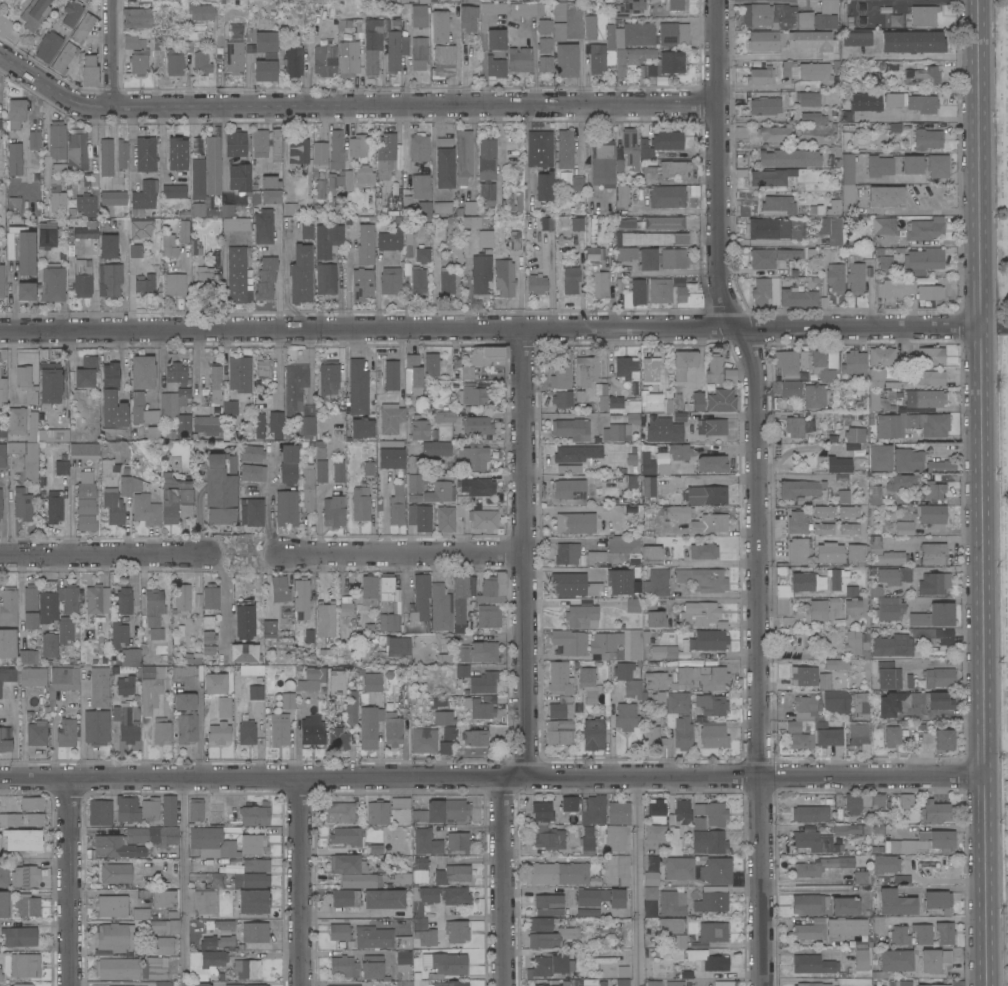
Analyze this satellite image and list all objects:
building: (85, 0)
building: (423, 0)
building: (469, 0)
building: (63, 1)
building: (677, 4)
building: (632, 5)
building: (494, 7)
building: (526, 8)
building: (200, 10)
building: (559, 11)
building: (72, 12)
building: (33, 13)
building: (420, 15)
building: (791, 15)
building: (923, 15)
building: (137, 17)
building: (296, 17)
building: (469, 17)
building: (891, 19)
building: (4, 25)
building: (440, 26)
building: (544, 26)
building: (590, 26)
building: (83, 27)
building: (559, 30)
building: (372, 33)
building: (635, 33)
building: (674, 33)
building: (903, 34)
building: (495, 39)
building: (810, 39)
building: (763, 40)
building: (133, 41)
building: (931, 41)
building: (544, 44)
building: (48, 45)
building: (396, 49)
building: (420, 52)
building: (602, 52)
building: (909, 52)
road: (113, 54)
road: (484, 54)
road: (768, 54)
building: (270, 55)
building: (325, 55)
road: (533, 55)
building: (632, 55)
building: (64, 56)
building: (234, 56)
building: (445, 56)
road: (579, 57)
building: (349, 58)
road: (457, 58)
building: (520, 59)
building: (293, 60)
building: (566, 60)
building: (139, 61)
building: (175, 61)
building: (202, 62)
building: (618, 62)
building: (888, 62)
building: (370, 63)
building: (544, 63)
building: (667, 63)
building: (496, 66)
building: (807, 70)
building: (88, 71)
road: (464, 71)
road: (587, 73)
building: (761, 75)
building: (922, 75)
building: (875, 79)
building: (808, 97)
building: (834, 99)
building: (891, 99)
building: (864, 102)
building: (766, 103)
building: (923, 103)
road: (351, 107)
building: (15, 112)
building: (813, 117)
road: (920, 117)
road: (25, 121)
building: (894, 127)
building: (742, 132)
building: (776, 133)
building: (928, 138)
building: (35, 139)
building: (55, 139)
building: (260, 141)
building: (236, 143)
building: (196, 144)
building: (661, 144)
building: (358, 145)
building: (276, 147)
building: (418, 147)
building: (630, 147)
building: (540, 148)
building: (337, 149)
building: (564, 149)
building: (78, 152)
building: (298, 152)
building: (122, 153)
building: (146, 153)
building: (176, 153)
building: (386, 154)
building: (464, 155)
building: (106, 156)
building: (789, 157)
building: (15, 158)
building: (487, 159)
building: (445, 162)
building: (213, 164)
building: (603, 164)
building: (908, 164)
building: (320, 167)
building: (665, 167)
building: (847, 168)
building: (33, 174)
building: (364, 175)
building: (198, 176)
building: (516, 176)
building: (178, 177)
building: (240, 177)
building: (767, 177)
road: (910, 178)
building: (88, 180)
building: (349, 180)
building: (335, 181)
building: (578, 183)
building: (544, 185)
building: (421, 186)
building: (57, 187)
building: (269, 189)
building: (488, 192)
building: (622, 194)
building: (665, 195)
building: (146, 196)
building: (175, 196)
building: (385, 196)
building: (885, 196)
building: (114, 197)
building: (848, 199)
building: (515, 200)
building: (836, 202)
building: (778, 203)
building: (408, 204)
building: (13, 205)
building: (85, 205)
building: (443, 206)
building: (832, 206)
building: (217, 207)
building: (471, 207)
building: (290, 208)
building: (198, 209)
building: (424, 210)
road: (943, 210)
building: (312, 211)
building: (471, 221)
building: (627, 222)
building: (663, 222)
building: (537, 223)
building: (577, 223)
building: (214, 224)
building: (236, 224)
building: (884, 225)
building: (263, 226)
building: (141, 227)
building: (797, 227)
building: (769, 228)
building: (925, 228)
building: (832, 229)
building: (183, 231)
building: (308, 231)
building: (84, 232)
building: (47, 234)
building: (391, 236)
building: (327, 238)
building: (486, 238)
building: (515, 239)
building: (654, 239)
building: (408, 241)
building: (592, 242)
building: (365, 243)
building: (169, 245)
building: (196, 247)
building: (136, 250)
building: (627, 252)
building: (26, 253)
building: (422, 254)
building: (457, 254)
building: (772, 256)
building: (674, 258)
building: (648, 259)
building: (924, 259)
building: (539, 263)
building: (885, 264)
building: (109, 267)
building: (836, 271)
building: (481, 272)
building: (301, 273)
building: (204, 274)
building: (237, 274)
building: (80, 275)
building: (855, 275)
building: (266, 277)
building: (326, 278)
road: (347, 278)
building: (504, 278)
building: (571, 279)
building: (390, 280)
building: (2, 281)
building: (362, 281)
building: (418, 281)
building: (447, 281)
building: (53, 283)
building: (145, 283)
building: (175, 284)
building: (598, 284)
building: (908, 288)
building: (639, 290)
building: (766, 290)
building: (25, 291)
building: (675, 293)
building: (798, 297)
road: (1003, 325)
road: (490, 331)
building: (488, 355)
building: (931, 355)
building: (882, 356)
building: (20, 358)
building: (803, 359)
building: (854, 362)
building: (432, 363)
building: (683, 363)
building: (788, 363)
building: (627, 367)
building: (820, 367)
building: (714, 368)
road: (275, 369)
building: (455, 369)
building: (651, 369)
building: (586, 370)
building: (562, 371)
building: (86, 372)
building: (142, 372)
building: (467, 372)
building: (239, 374)
building: (262, 374)
building: (390, 374)
building: (413, 374)
building: (729, 375)
building: (329, 376)
building: (932, 377)
road: (64, 378)
building: (177, 378)
building: (875, 378)
building: (25, 382)
building: (215, 383)
building: (49, 384)
building: (357, 387)
building: (602, 388)
building: (787, 388)
building: (3, 389)
building: (816, 394)
building: (469, 395)
building: (111, 397)
building: (562, 398)
building: (924, 398)
building: (296, 399)
building: (651, 400)
building: (722, 400)
building: (166, 402)
building: (601, 402)
building: (697, 402)
building: (624, 404)
building: (856, 404)
building: (229, 407)
building: (141, 409)
building: (444, 416)
building: (390, 418)
building: (633, 418)
building: (17, 420)
building: (930, 423)
building: (183, 424)
building: (206, 424)
building: (713, 424)
park: (1003, 424)
building: (259, 425)
building: (275, 425)
building: (476, 425)
building: (889, 425)
building: (32, 426)
building: (419, 427)
building: (800, 427)
building: (856, 427)
building: (361, 428)
building: (572, 428)
building: (663, 428)
building: (246, 429)
building: (153, 432)
building: (617, 432)
building: (53, 434)
building: (704, 437)
building: (316, 446)
building: (16, 447)
building: (436, 447)
building: (83, 450)
building: (674, 450)
building: (251, 453)
building: (577, 453)
building: (390, 454)
building: (2, 456)
building: (474, 456)
building: (619, 457)
building: (880, 457)
building: (286, 460)
building: (908, 460)
building: (31, 463)
building: (416, 463)
building: (647, 463)
building: (712, 463)
building: (838, 463)
building: (368, 466)
building: (941, 466)
building: (60, 467)
building: (321, 470)
building: (338, 470)
building: (251, 472)
building: (629, 480)
building: (904, 482)
building: (414, 483)
building: (85, 485)
building: (308, 486)
building: (477, 486)
building: (653, 486)
building: (800, 487)
building: (220, 488)
road: (758, 488)
building: (251, 489)
building: (570, 489)
building: (933, 489)
building: (439, 492)
road: (982, 492)
building: (705, 494)
building: (874, 494)
building: (634, 495)
building: (843, 496)
building: (414, 498)
building: (112, 500)
building: (0, 503)
building: (23, 503)
building: (360, 503)
building: (54, 505)
building: (396, 505)
building: (86, 506)
building: (287, 507)
building: (170, 509)
road: (268, 509)
building: (145, 510)
building: (849, 510)
building: (333, 511)
building: (823, 511)
building: (252, 512)
building: (677, 513)
building: (931, 515)
building: (419, 516)
building: (0, 518)
building: (445, 518)
building: (484, 518)
building: (796, 521)
building: (86, 522)
building: (575, 522)
building: (710, 522)
building: (904, 527)
building: (823, 528)
building: (848, 528)
building: (875, 544)
building: (626, 548)
building: (799, 549)
building: (703, 550)
building: (829, 552)
building: (855, 552)
building: (933, 553)
road: (523, 554)
building: (651, 554)
road: (104, 555)
road: (403, 555)
building: (580, 555)
building: (890, 557)
building: (894, 575)
building: (835, 577)
building: (685, 580)
building: (806, 581)
building: (619, 582)
building: (567, 583)
building: (934, 583)
building: (494, 585)
building: (368, 587)
building: (386, 587)
building: (593, 589)
building: (850, 590)
building: (875, 590)
building: (211, 595)
building: (462, 595)
building: (69, 597)
building: (183, 598)
building: (97, 599)
building: (782, 599)
building: (124, 600)
building: (420, 600)
building: (48, 601)
building: (633, 604)
building: (285, 605)
building: (8, 606)
building: (31, 606)
building: (154, 606)
building: (852, 607)
building: (441, 608)
building: (821, 608)
building: (889, 608)
building: (653, 613)
building: (701, 613)
building: (489, 615)
building: (582, 615)
building: (933, 615)
building: (326, 618)
building: (391, 619)
building: (244, 620)
building: (347, 620)
building: (209, 621)
building: (788, 622)
building: (66, 628)
building: (310, 631)
building: (157, 633)
building: (119, 634)
building: (935, 634)
building: (709, 639)
building: (571, 641)
building: (8, 642)
building: (857, 643)
building: (49, 644)
building: (208, 644)
building: (619, 644)
building: (892, 645)
building: (398, 646)
building: (478, 651)
building: (664, 651)
building: (244, 652)
building: (26, 656)
building: (131, 656)
road: (941, 662)
building: (836, 664)
building: (187, 670)
building: (7, 675)
building: (33, 675)
building: (804, 675)
building: (888, 675)
building: (703, 676)
building: (939, 676)
building: (479, 677)
building: (311, 678)
building: (560, 678)
building: (629, 679)
building: (657, 679)
building: (370, 680)
building: (825, 680)
building: (907, 680)
building: (62, 681)
building: (337, 682)
building: (216, 683)
building: (125, 684)
building: (260, 684)
building: (589, 684)
building: (100, 686)
building: (151, 686)
building: (254, 692)
building: (659, 698)
building: (436, 700)
building: (287, 701)
building: (836, 701)
building: (911, 701)
building: (712, 703)
building: (861, 704)
building: (257, 706)
building: (483, 706)
building: (560, 706)
building: (224, 707)
building: (350, 708)
building: (115, 710)
building: (124, 710)
building: (186, 716)
building: (626, 716)
building: (442, 717)
building: (680, 718)
building: (811, 724)
building: (96, 726)
building: (369, 726)
building: (392, 728)
building: (278, 729)
building: (162, 730)
building: (312, 730)
building: (560, 731)
building: (67, 732)
building: (130, 732)
building: (218, 732)
building: (246, 732)
building: (449, 732)
building: (37, 733)
building: (593, 733)
building: (714, 734)
building: (860, 734)
building: (892, 735)
building: (475, 736)
building: (653, 737)
building: (5, 738)
building: (338, 738)
building: (424, 739)
building: (944, 739)
building: (444, 747)
road: (873, 776)
road: (631, 777)
road: (402, 778)
road: (150, 779)
building: (877, 800)
building: (905, 800)
building: (399, 801)
building: (856, 801)
building: (32, 803)
building: (569, 803)
building: (128, 808)
building: (151, 808)
building: (195, 809)
building: (456, 809)
building: (657, 809)
building: (594, 810)
building: (168, 811)
building: (340, 811)
building: (377, 811)
building: (543, 811)
building: (682, 811)
building: (935, 811)
building: (100, 812)
building: (430, 812)
building: (619, 812)
building: (716, 813)
building: (810, 813)
building: (255, 815)
building: (215, 817)
building: (10, 819)
building: (35, 819)
building: (699, 822)
building: (849, 829)
building: (655, 834)
building: (346, 835)
building: (615, 837)
building: (550, 838)
building: (22, 839)
building: (674, 839)
building: (134, 841)
building: (427, 841)
building: (710, 841)
building: (816, 841)
building: (926, 841)
building: (212, 842)
building: (459, 842)
building: (254, 844)
building: (587, 845)
building: (375, 849)
building: (886, 863)
building: (256, 864)
building: (822, 865)
building: (679, 867)
building: (420, 868)
building: (353, 870)
building: (622, 870)
building: (717, 870)
building: (652, 871)
building: (559, 872)
building: (115, 873)
building: (451, 873)
building: (4, 874)
building: (25, 875)
building: (861, 876)
building: (402, 877)
building: (903, 878)
building: (251, 879)
road: (637, 881)
road: (70, 882)
road: (184, 882)
road: (301, 882)
road: (503, 882)
building: (600, 896)
building: (345, 897)
building: (165, 898)
building: (384, 898)
building: (712, 898)
building: (939, 900)
building: (206, 901)
building: (253, 901)
building: (457, 902)
building: (664, 902)
building: (896, 902)
building: (5, 903)
building: (810, 903)
building: (28, 904)
building: (549, 904)
building: (112, 905)
building: (846, 905)
building: (865, 907)
road: (347, 911)
building: (588, 911)
building: (141, 913)
building: (419, 923)
building: (540, 923)
building: (220, 924)
building: (671, 925)
building: (854, 925)
building: (165, 926)
building: (810, 929)
building: (456, 930)
building: (254, 931)
building: (340, 931)
building: (713, 931)
building: (945, 932)
building: (923, 933)
building: (20, 935)
building: (900, 935)
building: (373, 936)
building: (425, 936)
building: (552, 937)
building: (114, 938)
building: (680, 940)
building: (217, 941)
building: (403, 941)
building: (164, 945)
building: (709, 959)
building: (861, 959)
building: (896, 959)
building: (934, 959)
building: (209, 962)
building: (813, 963)
building: (25, 964)
building: (403, 964)
building: (444, 964)
building: (550, 965)
building: (344, 966)
building: (372, 966)
building: (118, 967)
building: (155, 967)
building: (246, 968)
building: (622, 971)
building: (416, 975)
building: (1, 976)
building: (623, 982)
building: (903, 982)
building: (163, 983)
building: (600, 983)
building: (655, 983)
building: (675, 983)
building: (724, 983)
building: (957, 983)
building: (22, 984)
building: (201, 984)
building: (243, 984)
building: (556, 984)
building: (812, 984)
building: (933, 984)
building: (139, 985)
building: (346, 985)

